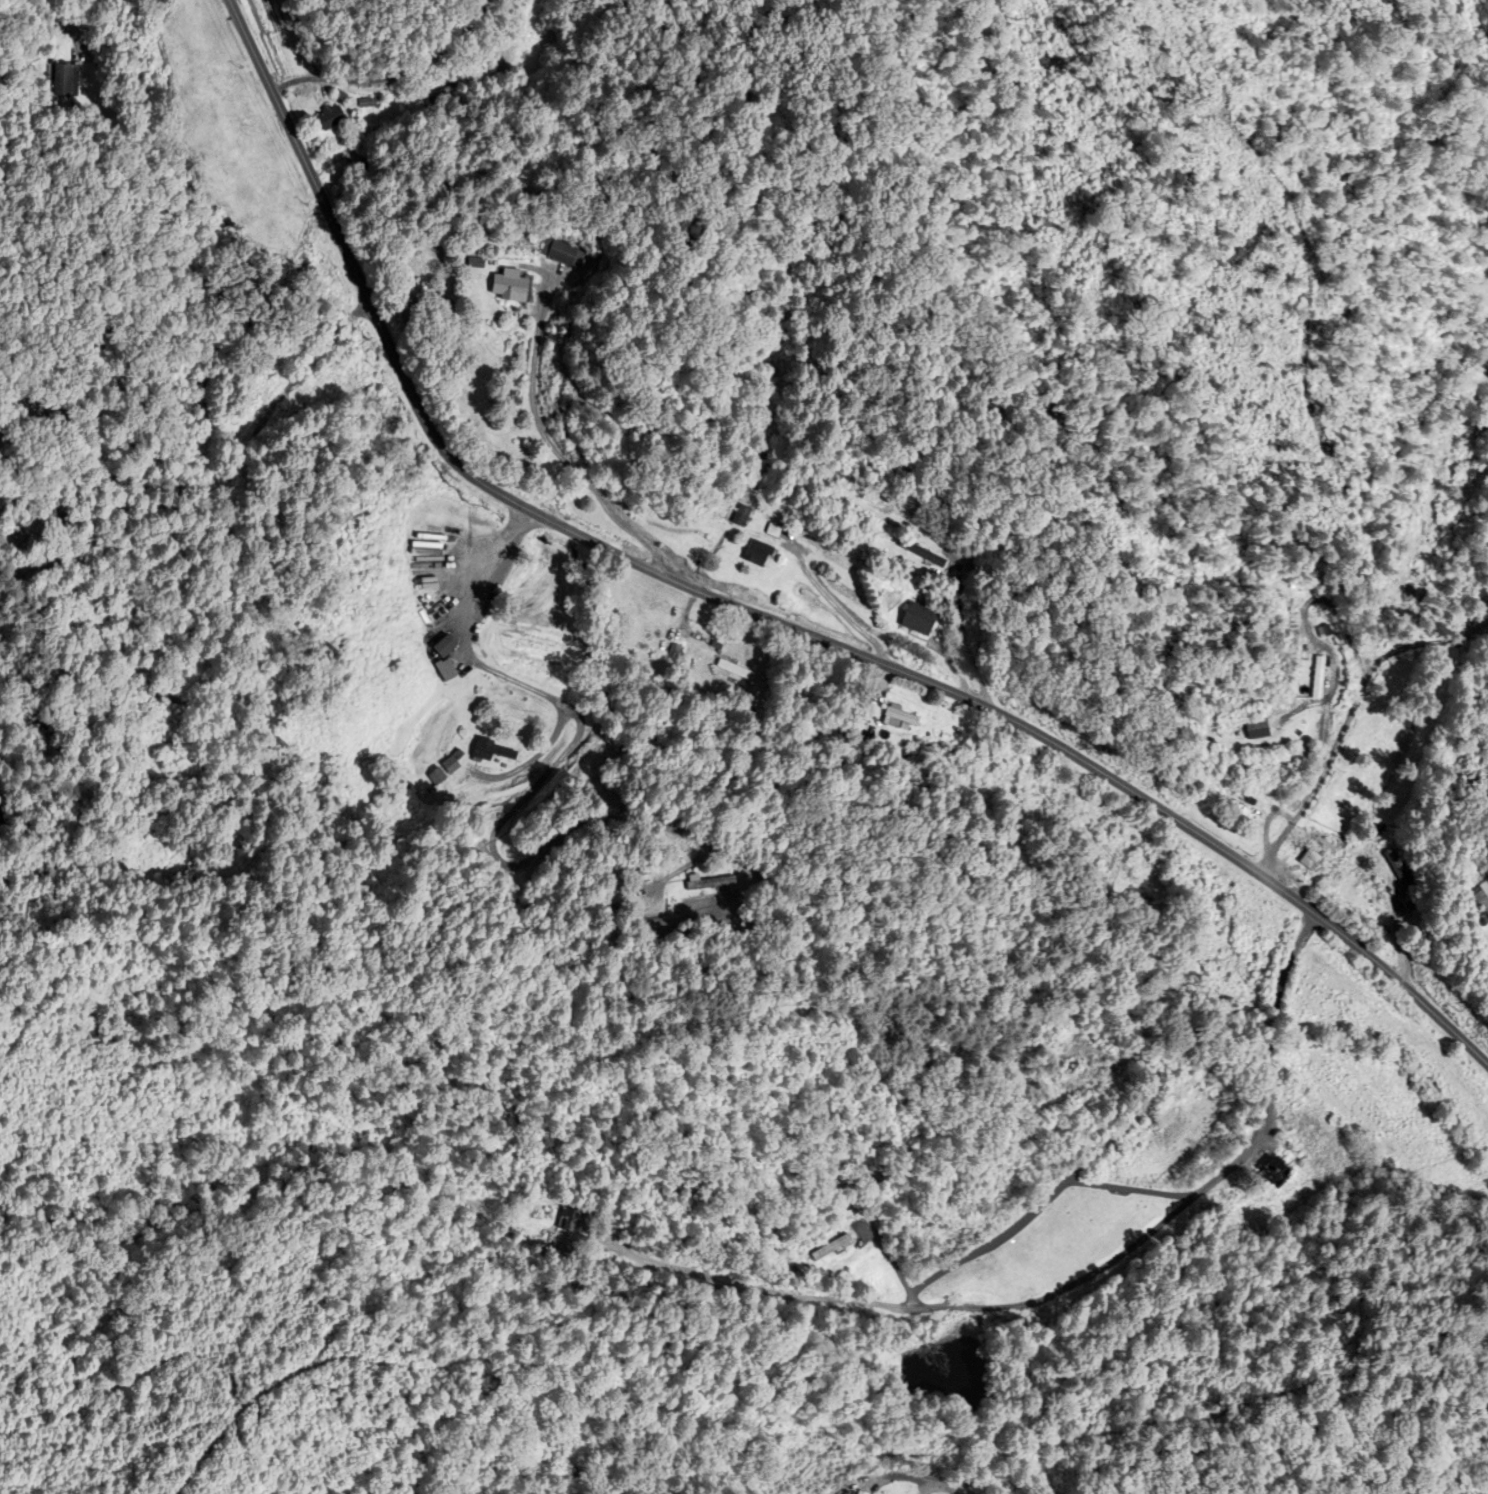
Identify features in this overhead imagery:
road: (390, 75)
building: (69, 81)
building: (445, 98)
building: (333, 119)
building: (561, 253)
building: (513, 288)
building: (1484, 431)
road: (561, 455)
building: (855, 478)
building: (744, 516)
building: (760, 554)
building: (925, 554)
road: (845, 610)
road: (762, 616)
building: (922, 620)
road: (1380, 627)
road: (963, 633)
road: (1427, 641)
building: (448, 660)
building: (738, 671)
building: (1322, 678)
building: (904, 719)
building: (1264, 731)
building: (1378, 748)
road: (538, 749)
building: (491, 751)
road: (560, 754)
building: (451, 765)
building: (435, 777)
building: (1246, 812)
building: (1310, 860)
building: (1397, 866)
building: (644, 876)
building: (710, 883)
building: (1482, 896)
building: (1142, 902)
building: (1278, 1170)
building: (849, 1210)
building: (575, 1222)
building: (837, 1249)
road: (890, 1257)
road: (1064, 1290)
road: (921, 1479)

